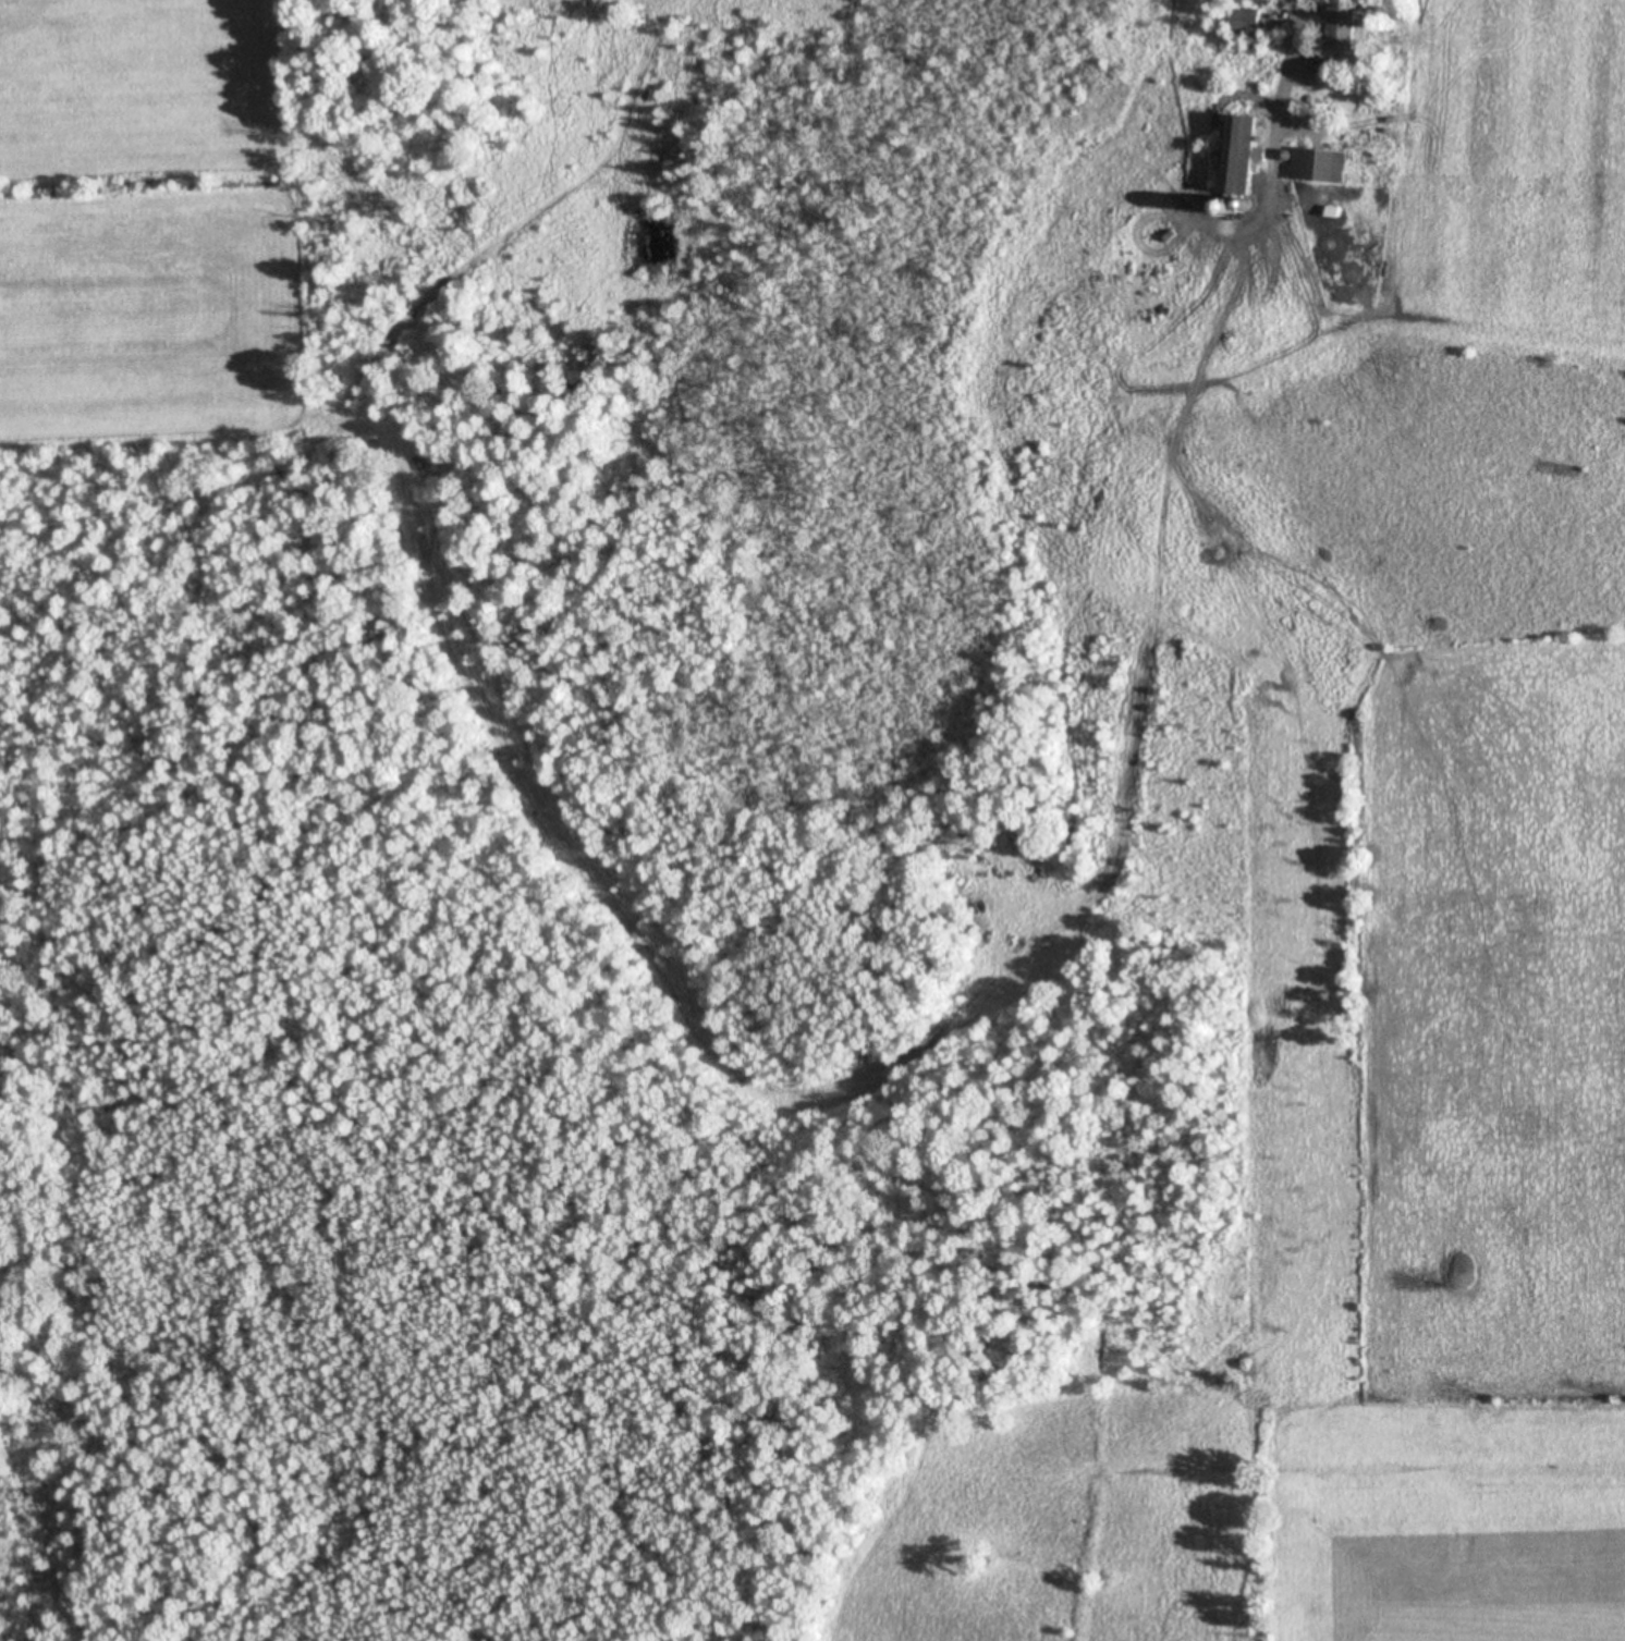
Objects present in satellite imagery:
building: (1345, 26)
building: (1242, 157)
building: (1321, 167)

